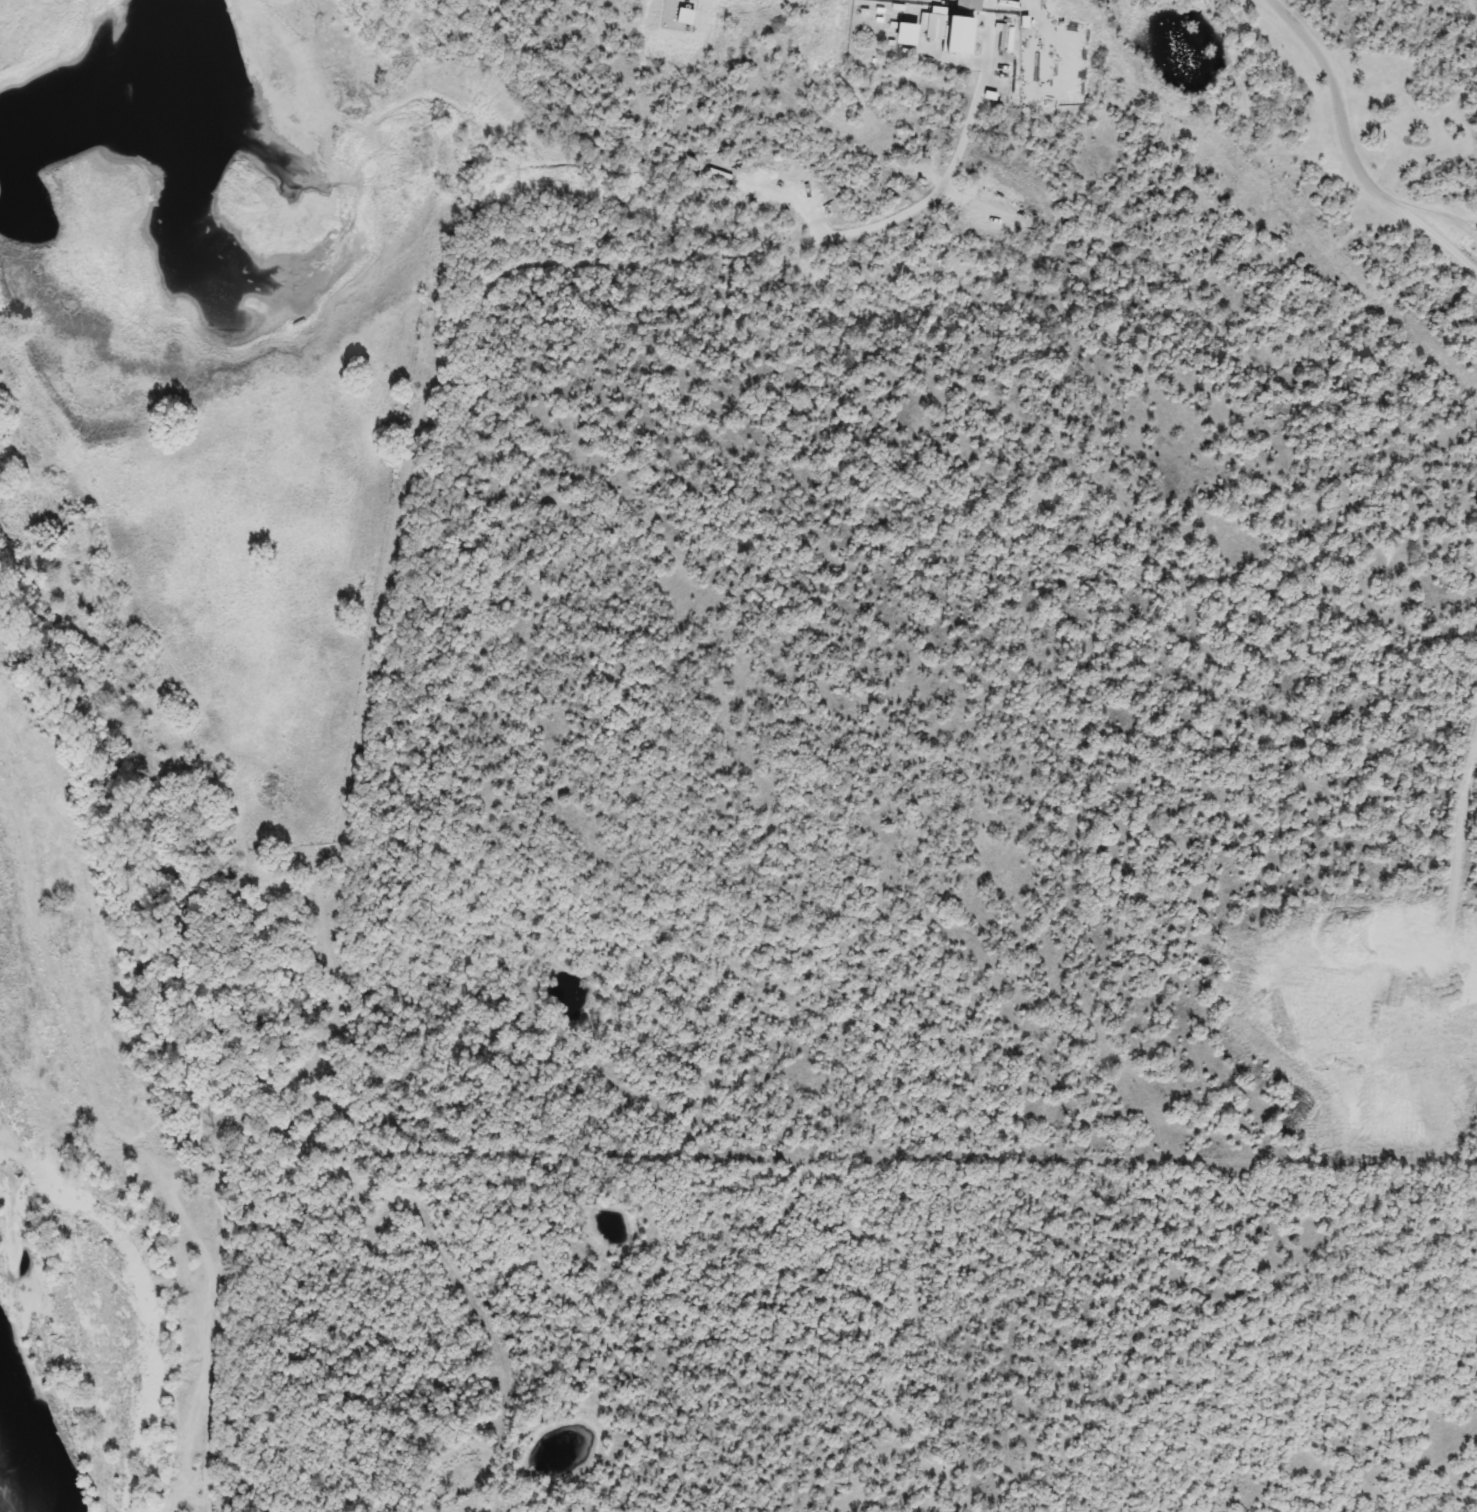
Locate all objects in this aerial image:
building: (932, 27)
building: (899, 35)
road: (1347, 154)
road: (1441, 217)
river: (39, 1430)
road: (199, 1510)

